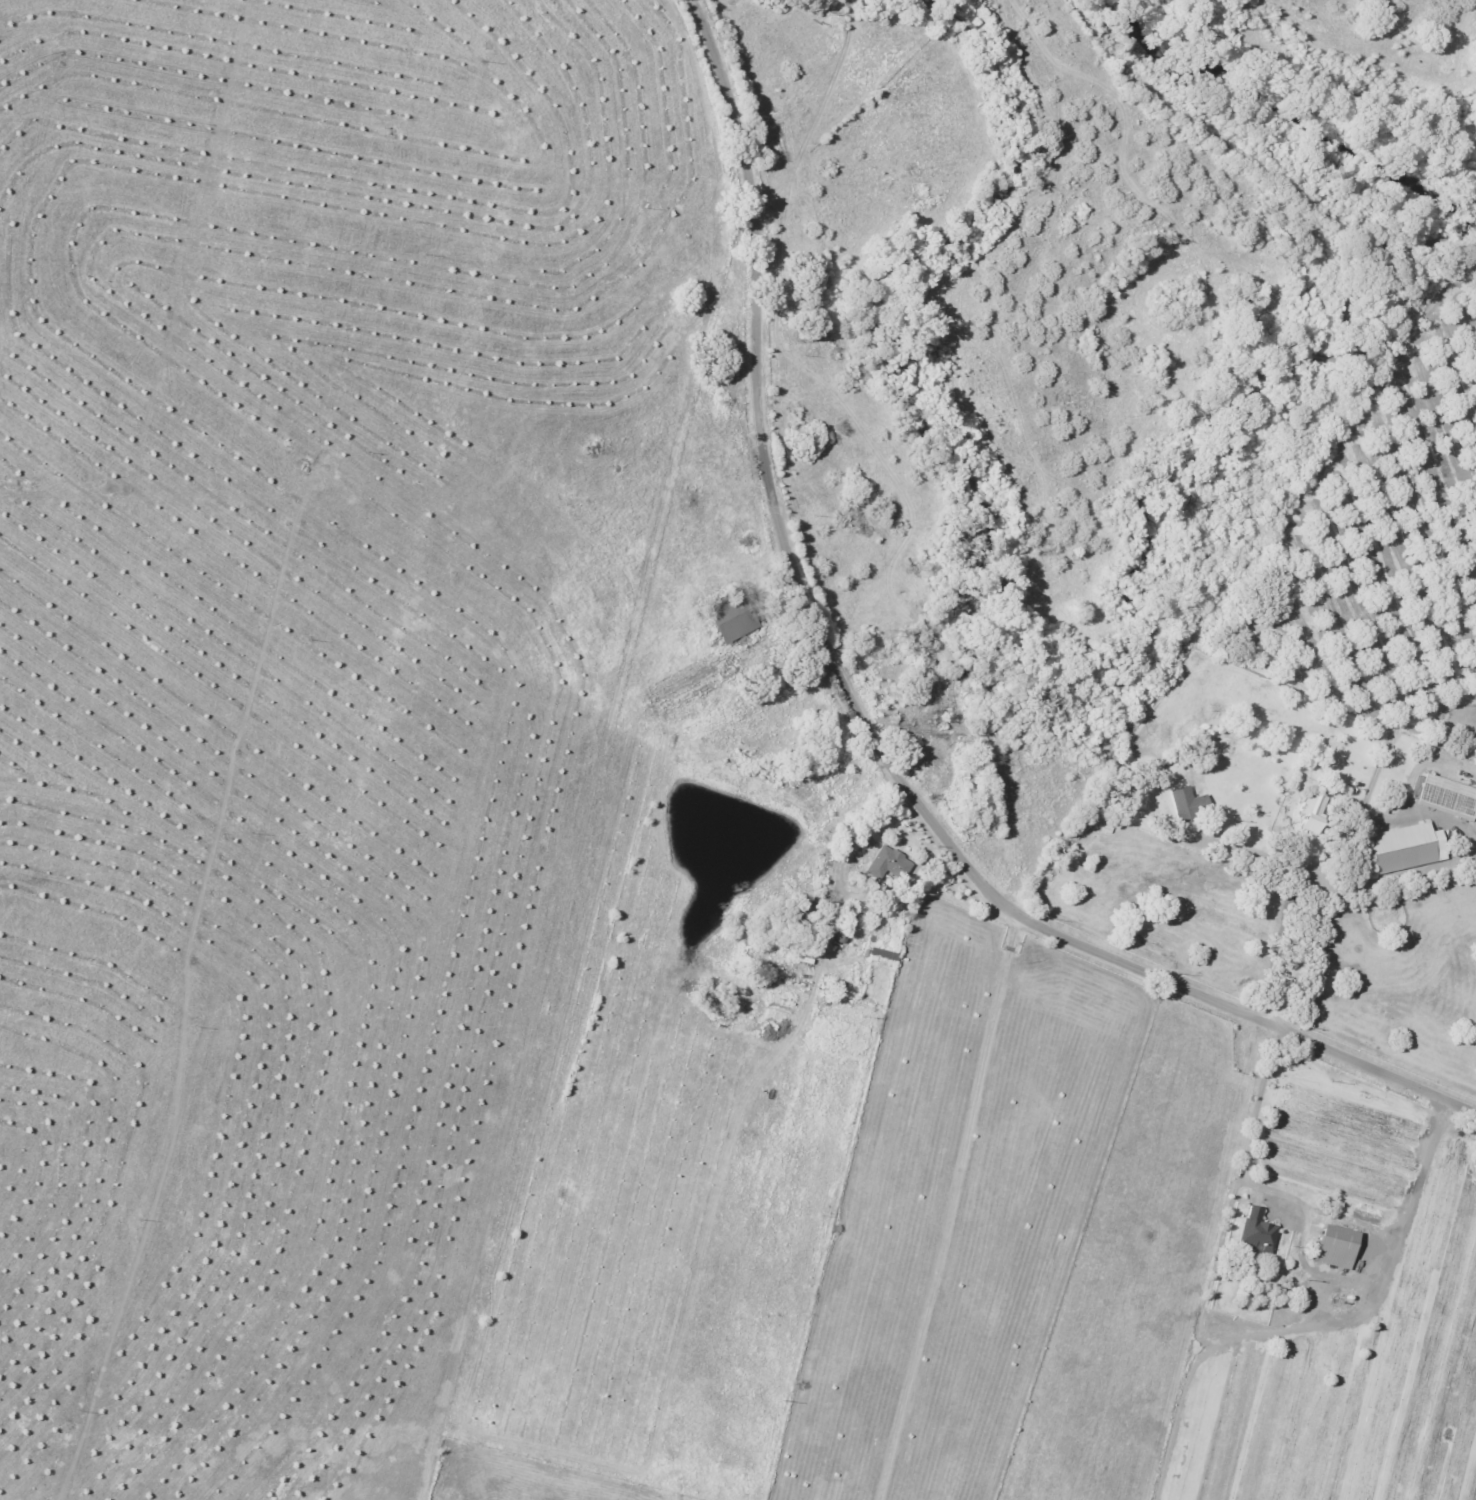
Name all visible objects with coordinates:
building: (734, 617)
road: (1426, 648)
road: (864, 721)
building: (1448, 796)
building: (1191, 803)
building: (1314, 811)
building: (1407, 847)
road: (1261, 859)
building: (891, 862)
road: (844, 866)
road: (1297, 949)
road: (1243, 1161)
road: (1424, 1169)
road: (954, 1210)
building: (1258, 1229)
building: (1337, 1246)

